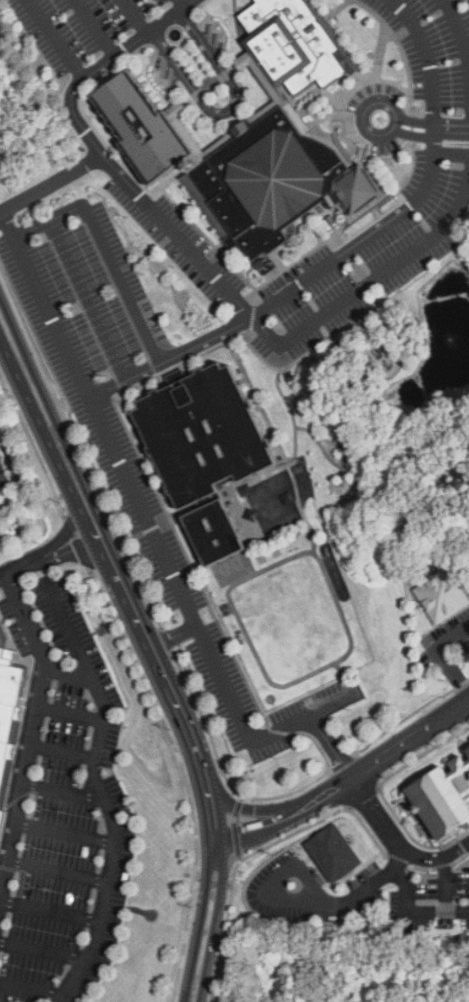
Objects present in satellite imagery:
road: (177, 4)
road: (131, 17)
road: (91, 28)
road: (461, 36)
road: (55, 38)
road: (427, 58)
road: (229, 109)
road: (72, 110)
road: (362, 125)
road: (413, 126)
road: (450, 128)
building: (247, 134)
road: (438, 153)
road: (356, 245)
road: (107, 251)
road: (371, 279)
road: (86, 302)
road: (46, 307)
road: (370, 332)
fountain: (450, 340)
road: (138, 375)
road: (281, 393)
building: (205, 432)
road: (32, 444)
road: (339, 445)
road: (80, 450)
road: (348, 473)
building: (2, 481)
building: (272, 510)
road: (69, 525)
building: (217, 531)
road: (63, 536)
road: (74, 536)
building: (277, 552)
road: (82, 553)
road: (49, 558)
road: (107, 558)
building: (262, 558)
park: (234, 567)
building: (442, 593)
track: (292, 617)
road: (348, 631)
road: (166, 638)
building: (2, 639)
road: (445, 660)
road: (68, 671)
road: (342, 678)
building: (6, 697)
road: (331, 706)
road: (409, 715)
road: (70, 718)
road: (206, 725)
road: (33, 736)
road: (256, 740)
road: (411, 741)
road: (463, 743)
building: (468, 749)
road: (63, 756)
road: (342, 761)
road: (184, 775)
road: (467, 775)
road: (97, 786)
road: (379, 787)
road: (336, 791)
road: (63, 794)
road: (288, 794)
road: (382, 795)
road: (466, 795)
road: (363, 796)
building: (444, 799)
road: (238, 807)
road: (349, 808)
road: (261, 813)
building: (0, 816)
road: (235, 818)
road: (218, 825)
road: (266, 826)
road: (65, 835)
road: (237, 839)
road: (399, 843)
road: (462, 846)
road: (255, 852)
building: (329, 856)
road: (241, 857)
road: (460, 858)
road: (397, 859)
road: (442, 865)
road: (421, 867)
road: (57, 873)
road: (197, 880)
road: (214, 882)
road: (231, 885)
road: (443, 897)
road: (313, 902)
road: (408, 907)
road: (49, 913)
road: (205, 932)
road: (42, 954)
road: (34, 989)
road: (54, 998)
road: (69, 998)

